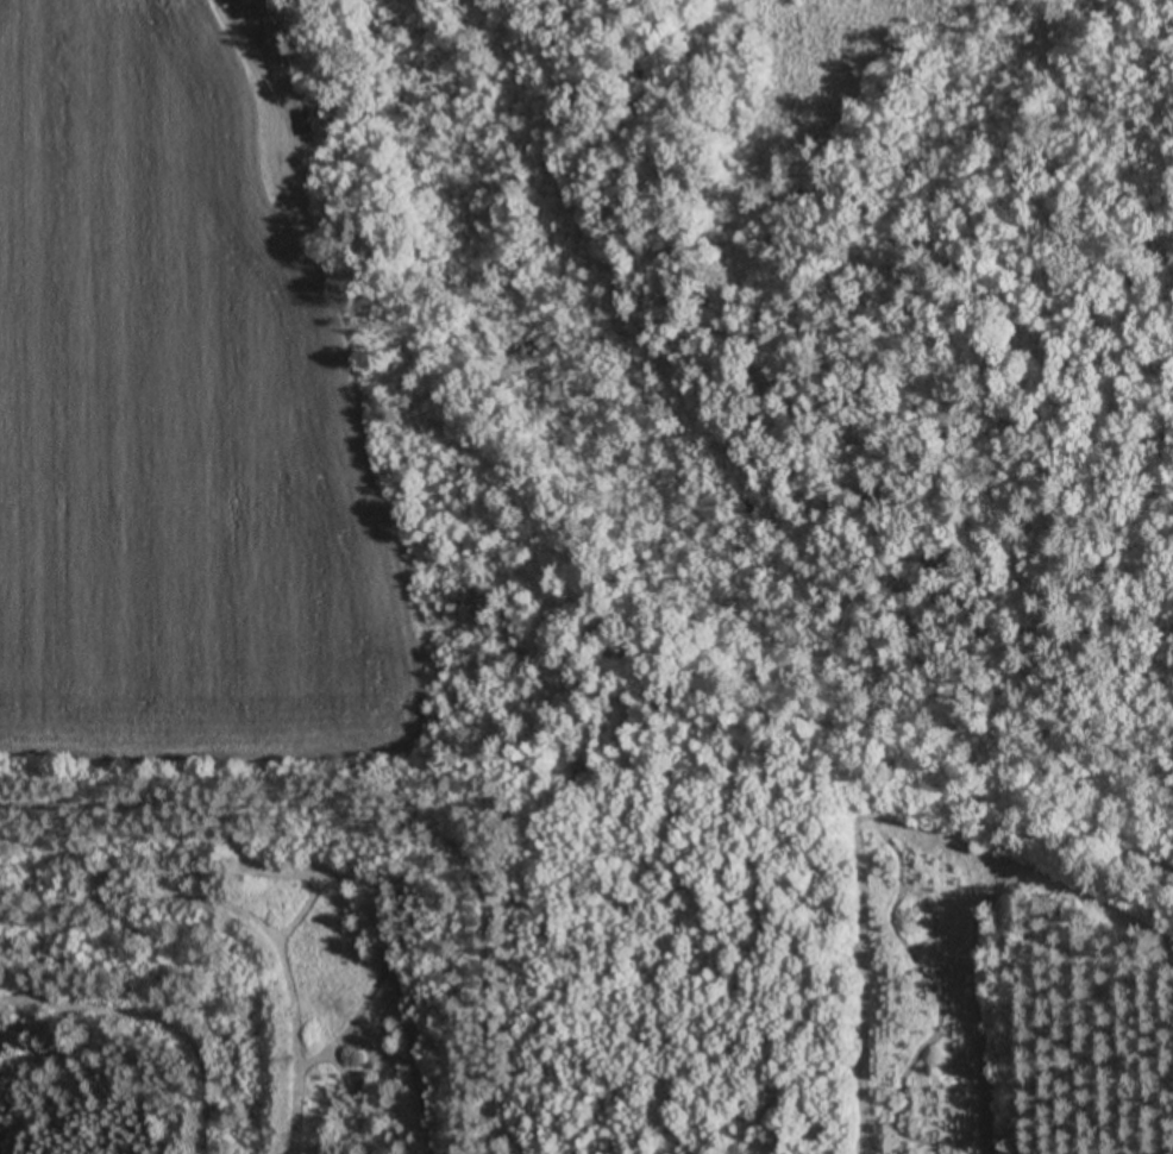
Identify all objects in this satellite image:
building: (310, 182)

